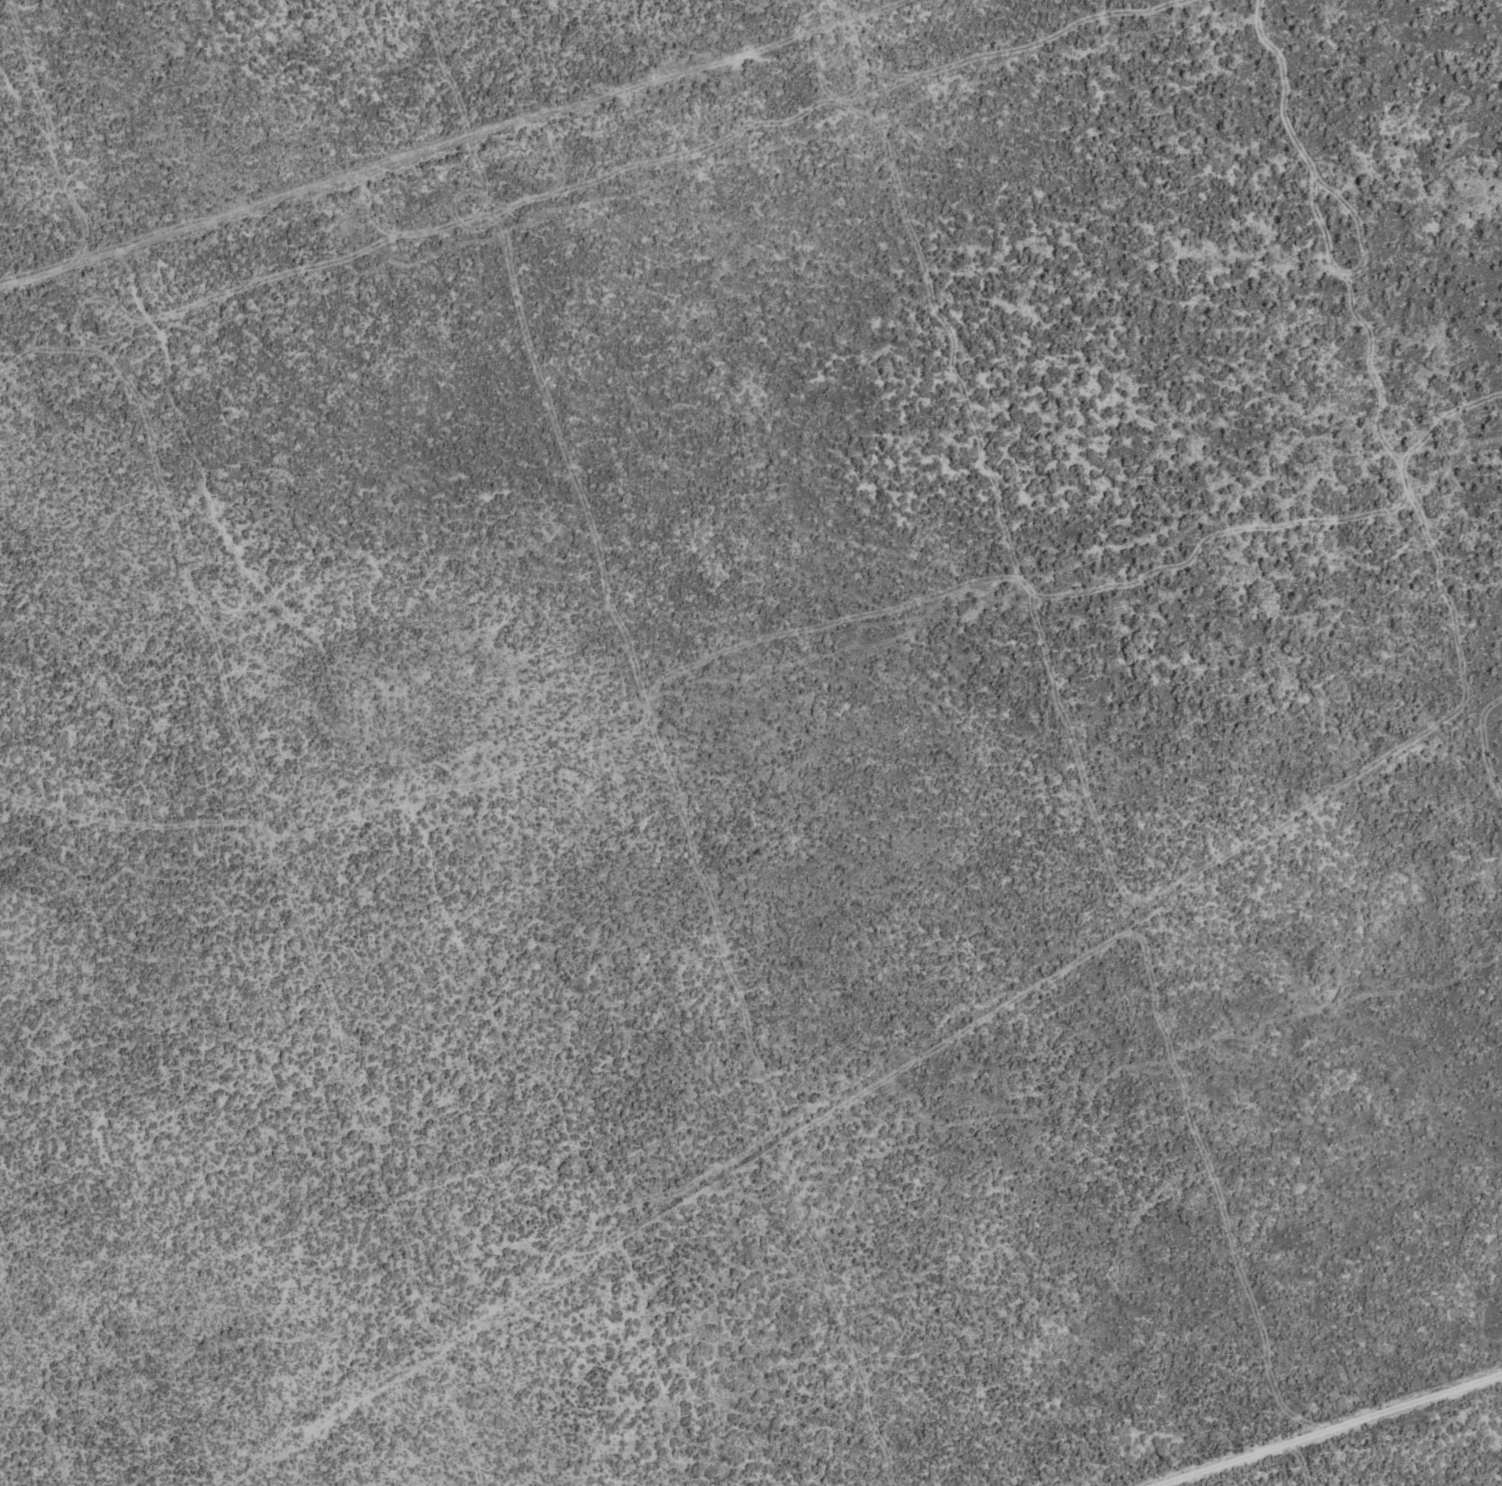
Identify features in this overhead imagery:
road: (390, 754)
road: (1357, 1438)

